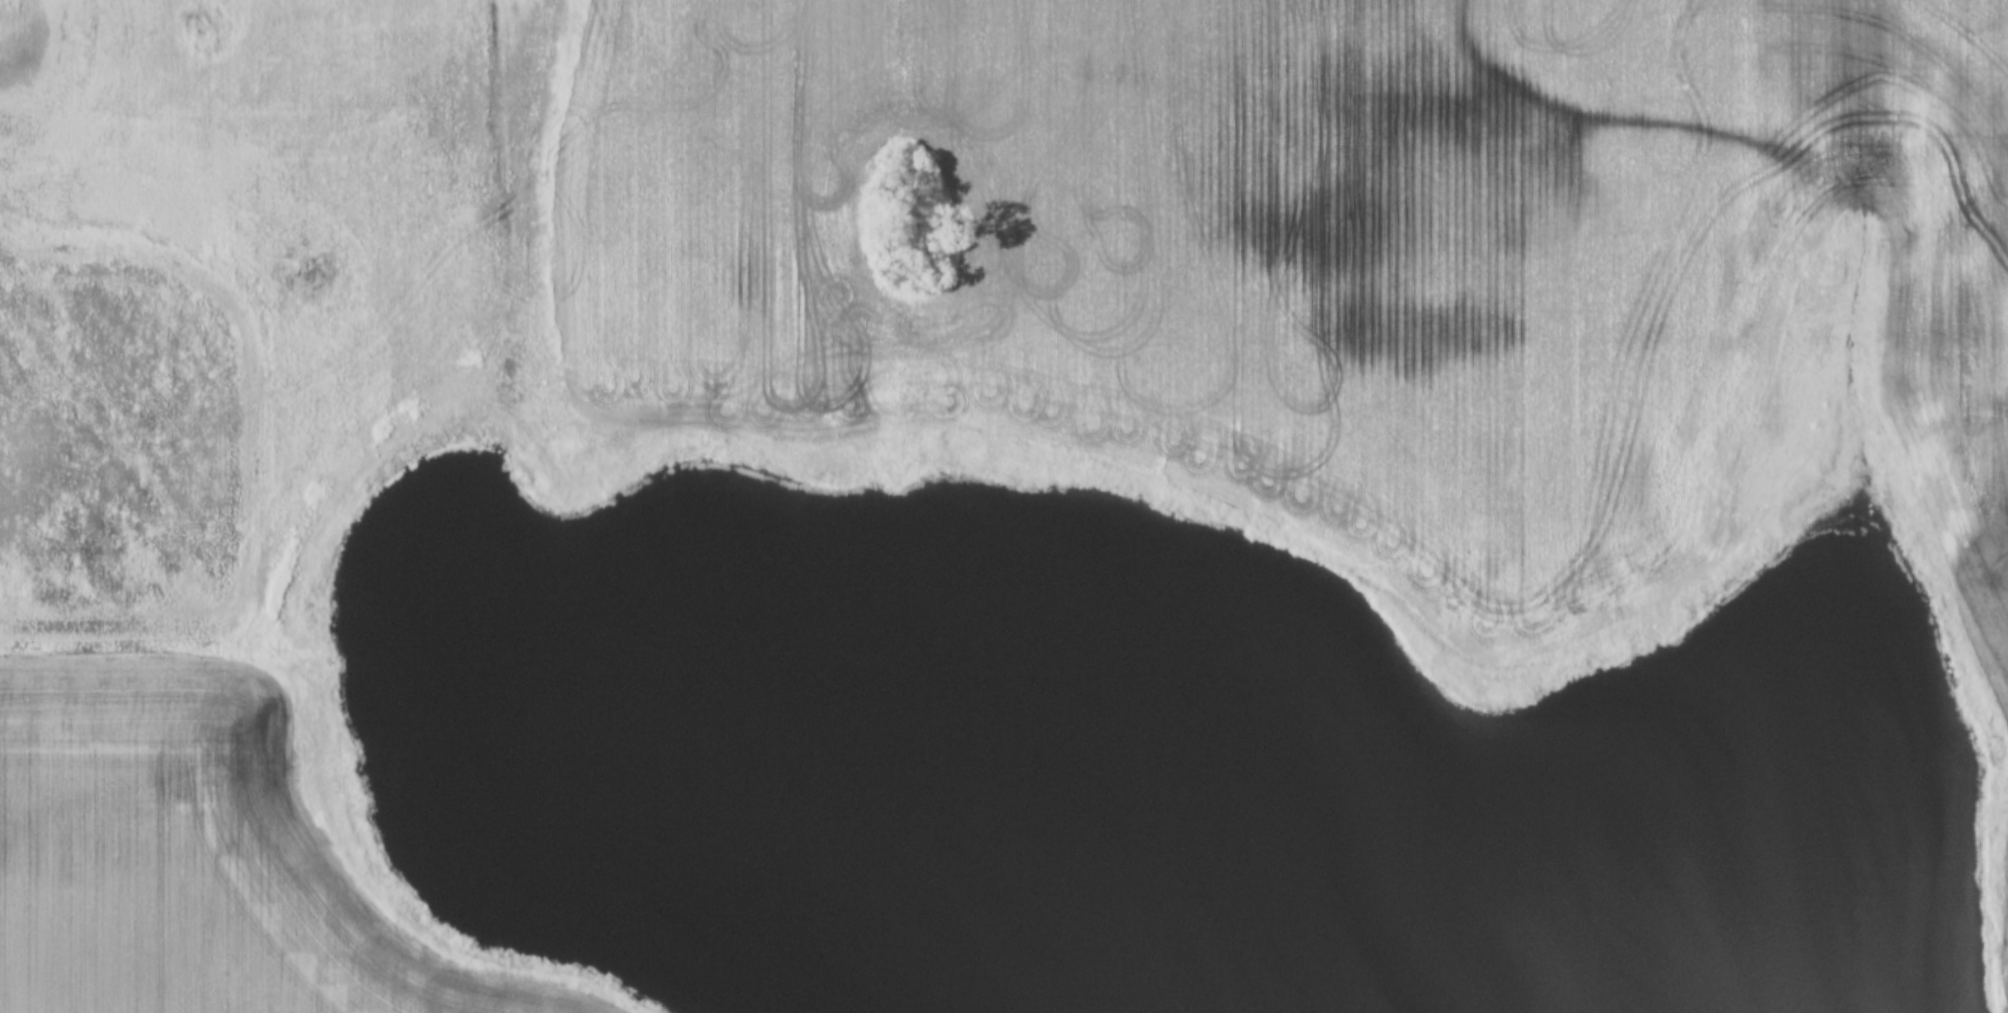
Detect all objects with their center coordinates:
road: (305, 147)

